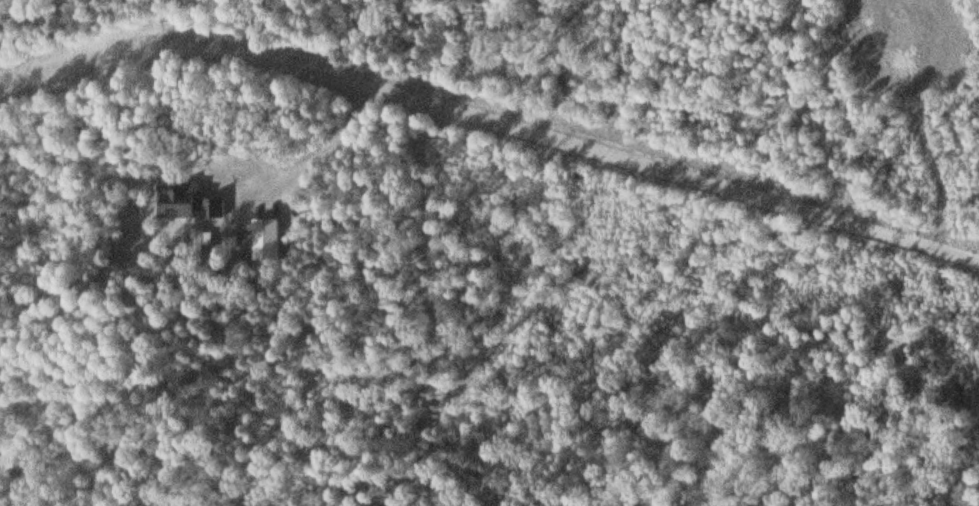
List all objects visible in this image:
road: (491, 111)
building: (178, 208)
road: (434, 302)

